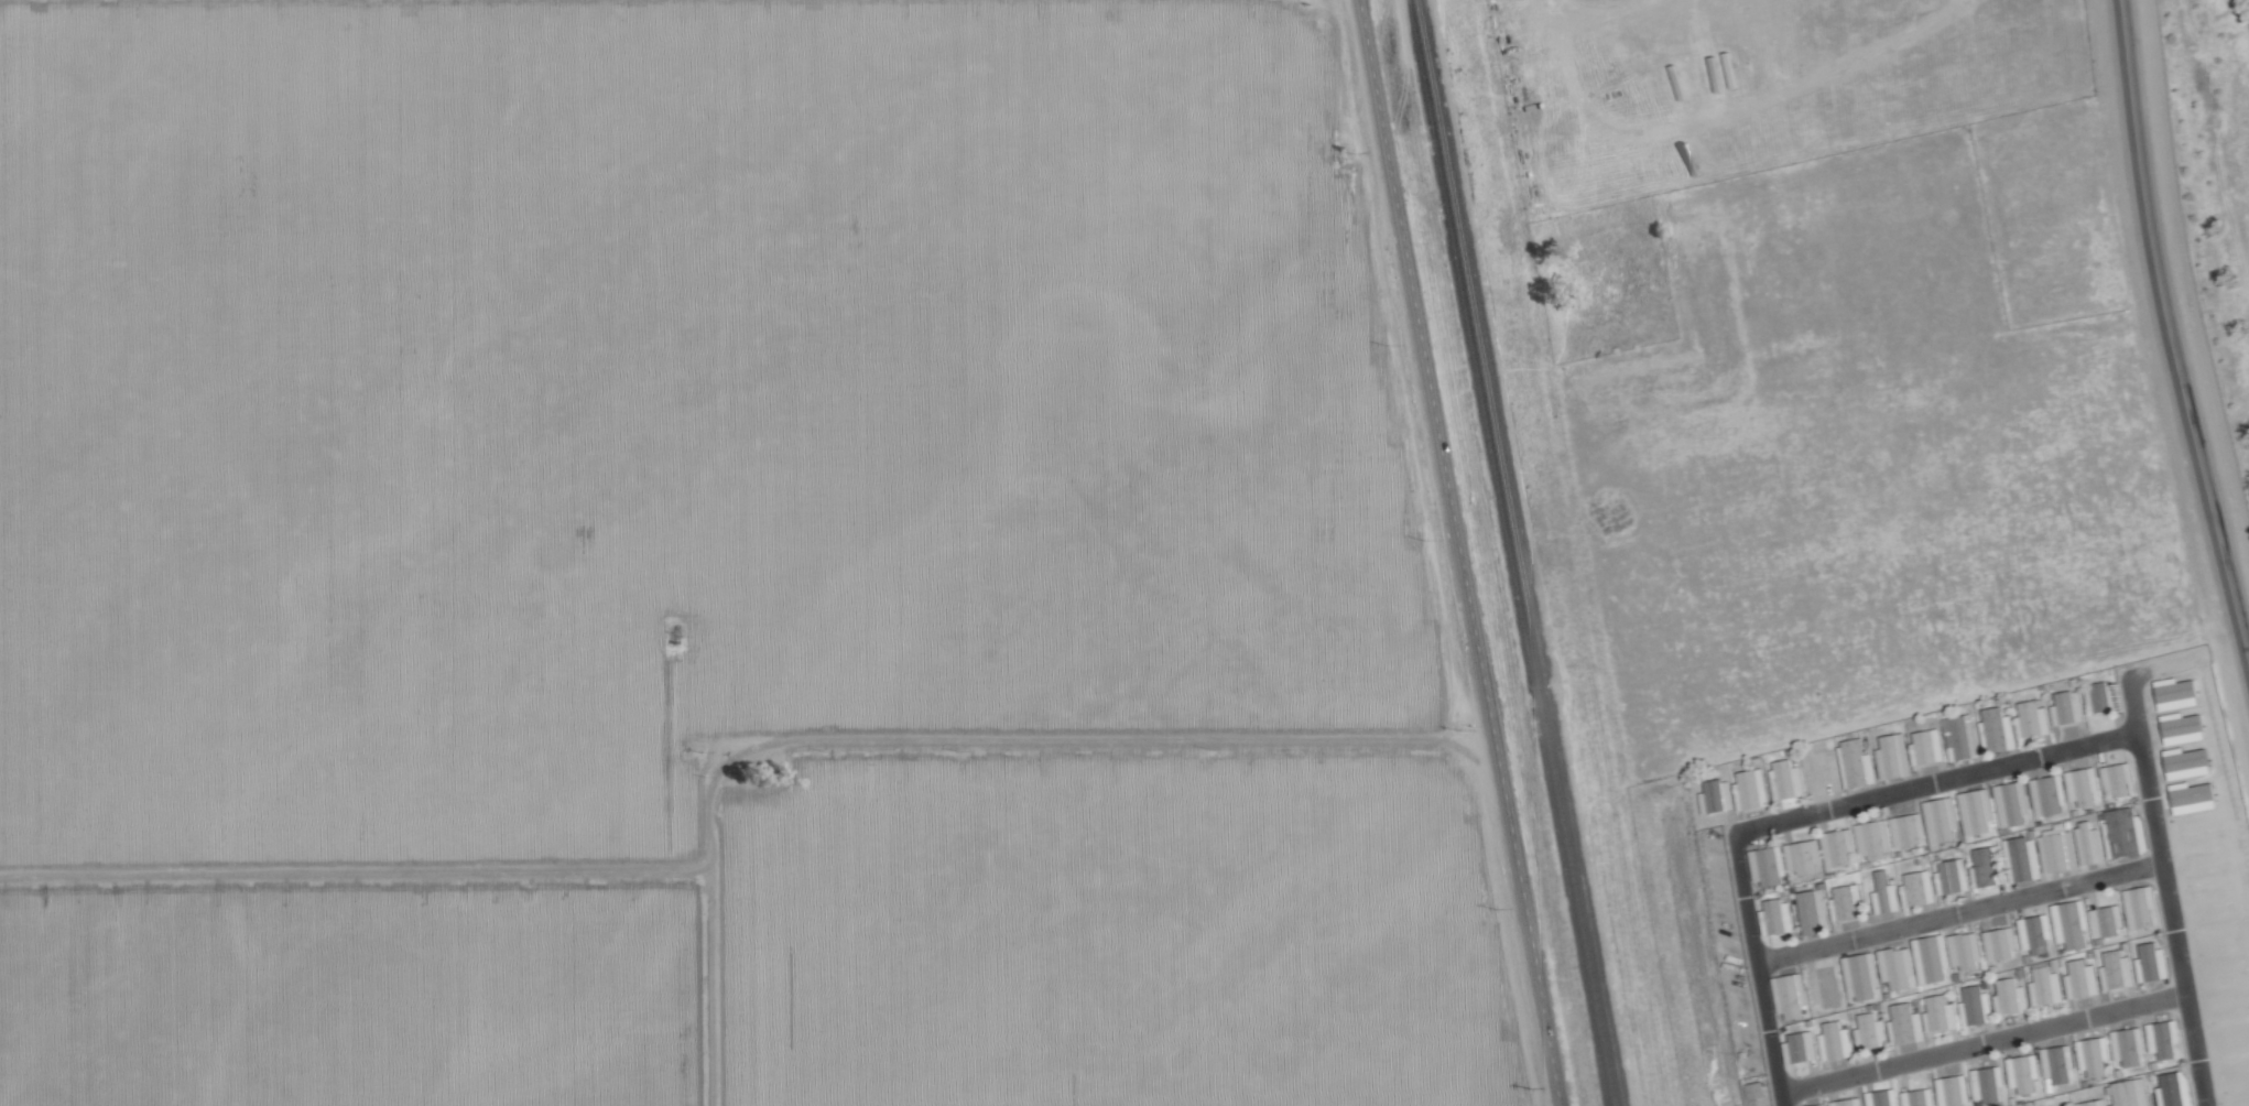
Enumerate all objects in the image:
road: (2167, 338)
road: (1457, 553)
railway: (1513, 553)
building: (2100, 703)
building: (2071, 707)
building: (2032, 719)
building: (1998, 730)
building: (1962, 737)
building: (1927, 747)
building: (1853, 748)
building: (1893, 756)
building: (1786, 779)
building: (2117, 779)
road: (1934, 782)
building: (2082, 785)
building: (1751, 790)
building: (2049, 794)
building: (1718, 796)
building: (2012, 803)
building: (1977, 811)
building: (1942, 820)
building: (1909, 829)
building: (2125, 832)
building: (1873, 838)
building: (2088, 843)
building: (1838, 847)
building: (2057, 850)
building: (1803, 856)
building: (2024, 858)
building: (1988, 865)
building: (1767, 866)
building: (1951, 868)
road: (2164, 885)
building: (1915, 889)
building: (1886, 892)
building: (1814, 899)
building: (1846, 899)
building: (2140, 906)
road: (1959, 912)
building: (1777, 918)
building: (2105, 919)
building: (2069, 923)
building: (2034, 933)
building: (1999, 943)
building: (1964, 951)
building: (1932, 958)
building: (2151, 963)
building: (1897, 967)
road: (1759, 969)
building: (2116, 971)
building: (1861, 975)
building: (2080, 978)
building: (2044, 986)
building: (1791, 995)
building: (2009, 997)
building: (1975, 1006)
building: (1938, 1013)
building: (1905, 1024)
building: (1870, 1031)
building: (2164, 1038)
building: (1835, 1041)
road: (1981, 1042)
building: (2129, 1045)
building: (1801, 1048)
building: (2093, 1055)
building: (2058, 1063)
building: (2024, 1074)
building: (1987, 1083)
building: (2173, 1088)
building: (1953, 1091)
building: (1757, 1093)
building: (1919, 1097)
building: (2093, 1103)
building: (1821, 1105)

